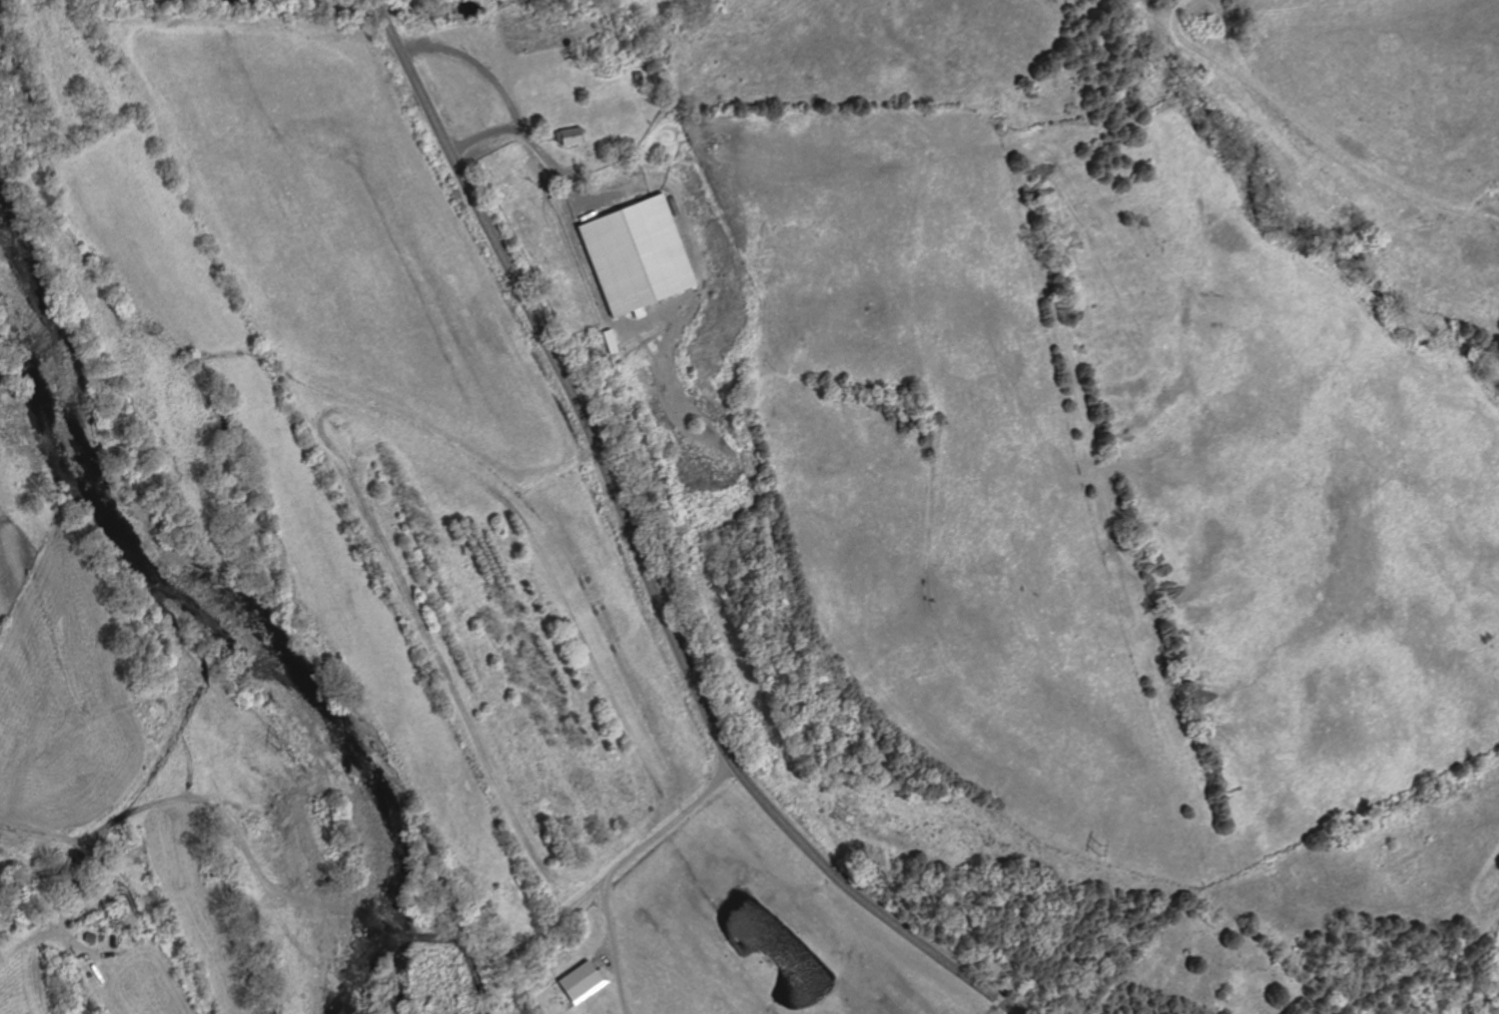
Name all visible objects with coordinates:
road: (377, 2)
road: (381, 10)
road: (1317, 130)
road: (483, 134)
building: (570, 135)
road: (545, 140)
road: (575, 185)
road: (599, 200)
building: (641, 255)
building: (612, 341)
road: (644, 560)
power tower: (283, 737)
road: (198, 797)
power tower: (853, 816)
power tower: (1108, 849)
road: (618, 866)
road: (384, 925)
building: (90, 938)
road: (518, 947)
road: (603, 954)
building: (583, 982)

